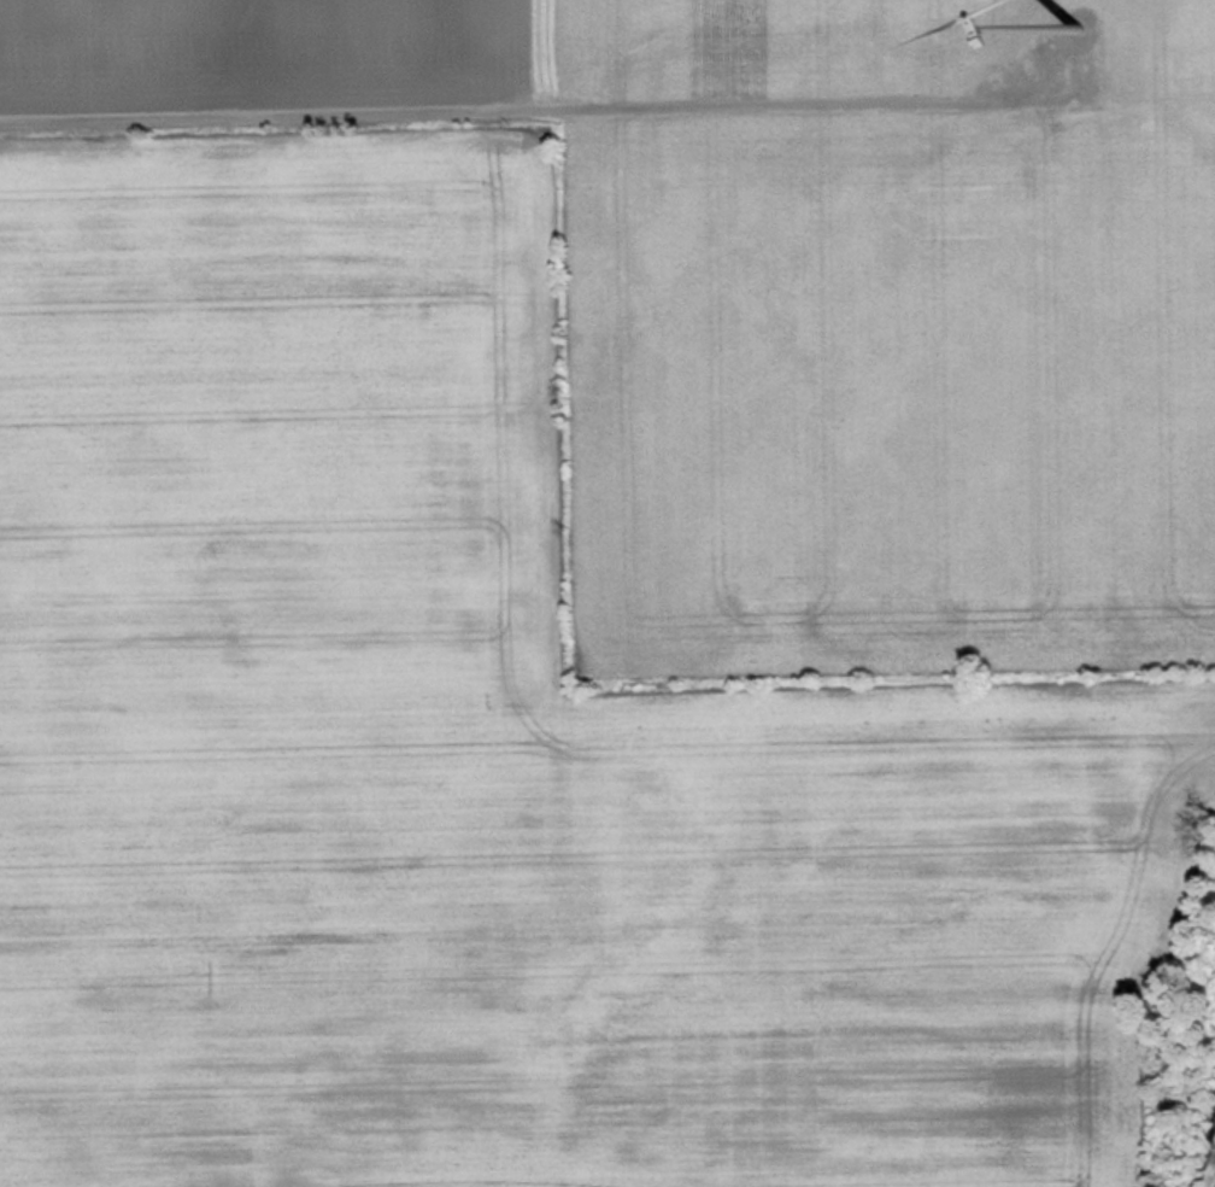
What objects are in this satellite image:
wind turbine: (1063, 23)
road: (526, 109)

